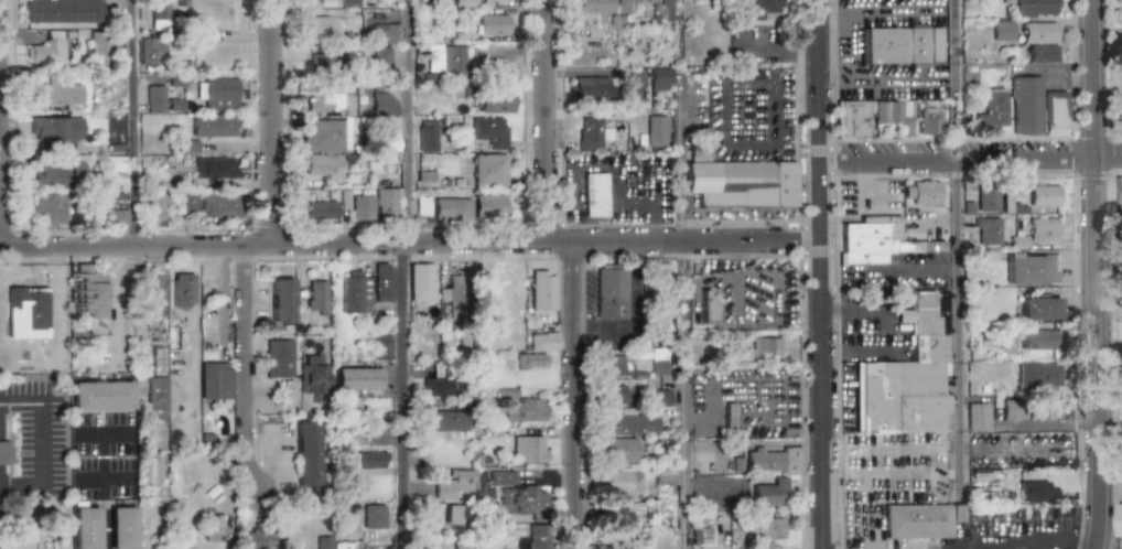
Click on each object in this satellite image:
building: (463, 4)
building: (603, 6)
building: (764, 8)
building: (1034, 8)
building: (1121, 10)
building: (65, 11)
building: (667, 11)
road: (876, 11)
building: (160, 13)
building: (493, 23)
building: (320, 25)
building: (386, 30)
building: (1002, 31)
building: (1038, 33)
road: (778, 42)
building: (902, 45)
building: (99, 47)
building: (45, 50)
building: (152, 52)
building: (1040, 53)
building: (380, 57)
building: (320, 62)
building: (451, 62)
building: (661, 76)
road: (853, 82)
building: (591, 87)
building: (217, 91)
building: (55, 95)
building: (154, 98)
building: (381, 99)
building: (324, 101)
building: (495, 101)
road: (795, 101)
building: (1039, 110)
building: (992, 111)
building: (893, 114)
building: (852, 119)
road: (546, 121)
building: (929, 121)
road: (270, 122)
road: (133, 123)
building: (1119, 123)
building: (214, 126)
building: (657, 129)
building: (56, 130)
building: (322, 131)
building: (490, 131)
building: (591, 132)
building: (427, 136)
building: (388, 143)
building: (186, 147)
building: (698, 154)
road: (679, 157)
road: (971, 159)
building: (322, 165)
building: (112, 166)
building: (215, 168)
building: (488, 170)
road: (637, 170)
building: (56, 173)
building: (741, 183)
building: (1118, 190)
building: (920, 191)
building: (594, 195)
building: (1044, 196)
building: (988, 200)
building: (184, 201)
road: (616, 203)
building: (386, 204)
building: (218, 205)
building: (489, 205)
building: (155, 206)
building: (422, 206)
building: (362, 207)
building: (48, 208)
building: (451, 208)
building: (321, 211)
building: (118, 217)
building: (1043, 229)
building: (988, 232)
building: (867, 238)
building: (1017, 243)
road: (409, 244)
road: (957, 248)
building: (1031, 268)
road: (403, 273)
road: (820, 273)
road: (1093, 274)
building: (421, 281)
building: (384, 282)
building: (490, 287)
building: (454, 288)
building: (154, 289)
building: (182, 290)
building: (542, 290)
building: (89, 291)
building: (355, 292)
building: (614, 292)
building: (660, 294)
building: (316, 297)
building: (281, 300)
building: (710, 305)
building: (1038, 308)
road: (857, 311)
building: (28, 312)
building: (1039, 338)
building: (543, 340)
building: (381, 346)
building: (766, 348)
road: (854, 354)
building: (279, 358)
building: (531, 362)
building: (658, 362)
building: (614, 366)
road: (246, 367)
building: (1038, 374)
building: (314, 377)
building: (357, 378)
building: (906, 378)
building: (216, 380)
building: (438, 386)
building: (103, 391)
building: (157, 394)
building: (612, 394)
road: (682, 395)
road: (575, 396)
building: (660, 397)
building: (521, 408)
building: (1013, 410)
building: (729, 419)
road: (44, 420)
building: (444, 421)
building: (628, 422)
road: (116, 431)
building: (529, 449)
building: (623, 449)
building: (4, 452)
road: (865, 452)
building: (306, 453)
building: (366, 460)
building: (768, 460)
road: (103, 475)
building: (664, 477)
road: (103, 478)
building: (618, 481)
building: (449, 484)
building: (1036, 491)
building: (769, 493)
building: (521, 494)
building: (621, 514)
building: (374, 515)
building: (455, 515)
building: (923, 519)
building: (1119, 520)
building: (86, 526)
building: (122, 526)
building: (214, 526)
building: (764, 528)
building: (700, 535)
building: (537, 537)
building: (251, 539)
building: (323, 542)
road: (1078, 543)
building: (460, 545)
road: (1005, 545)
road: (941, 547)
road: (947, 547)

